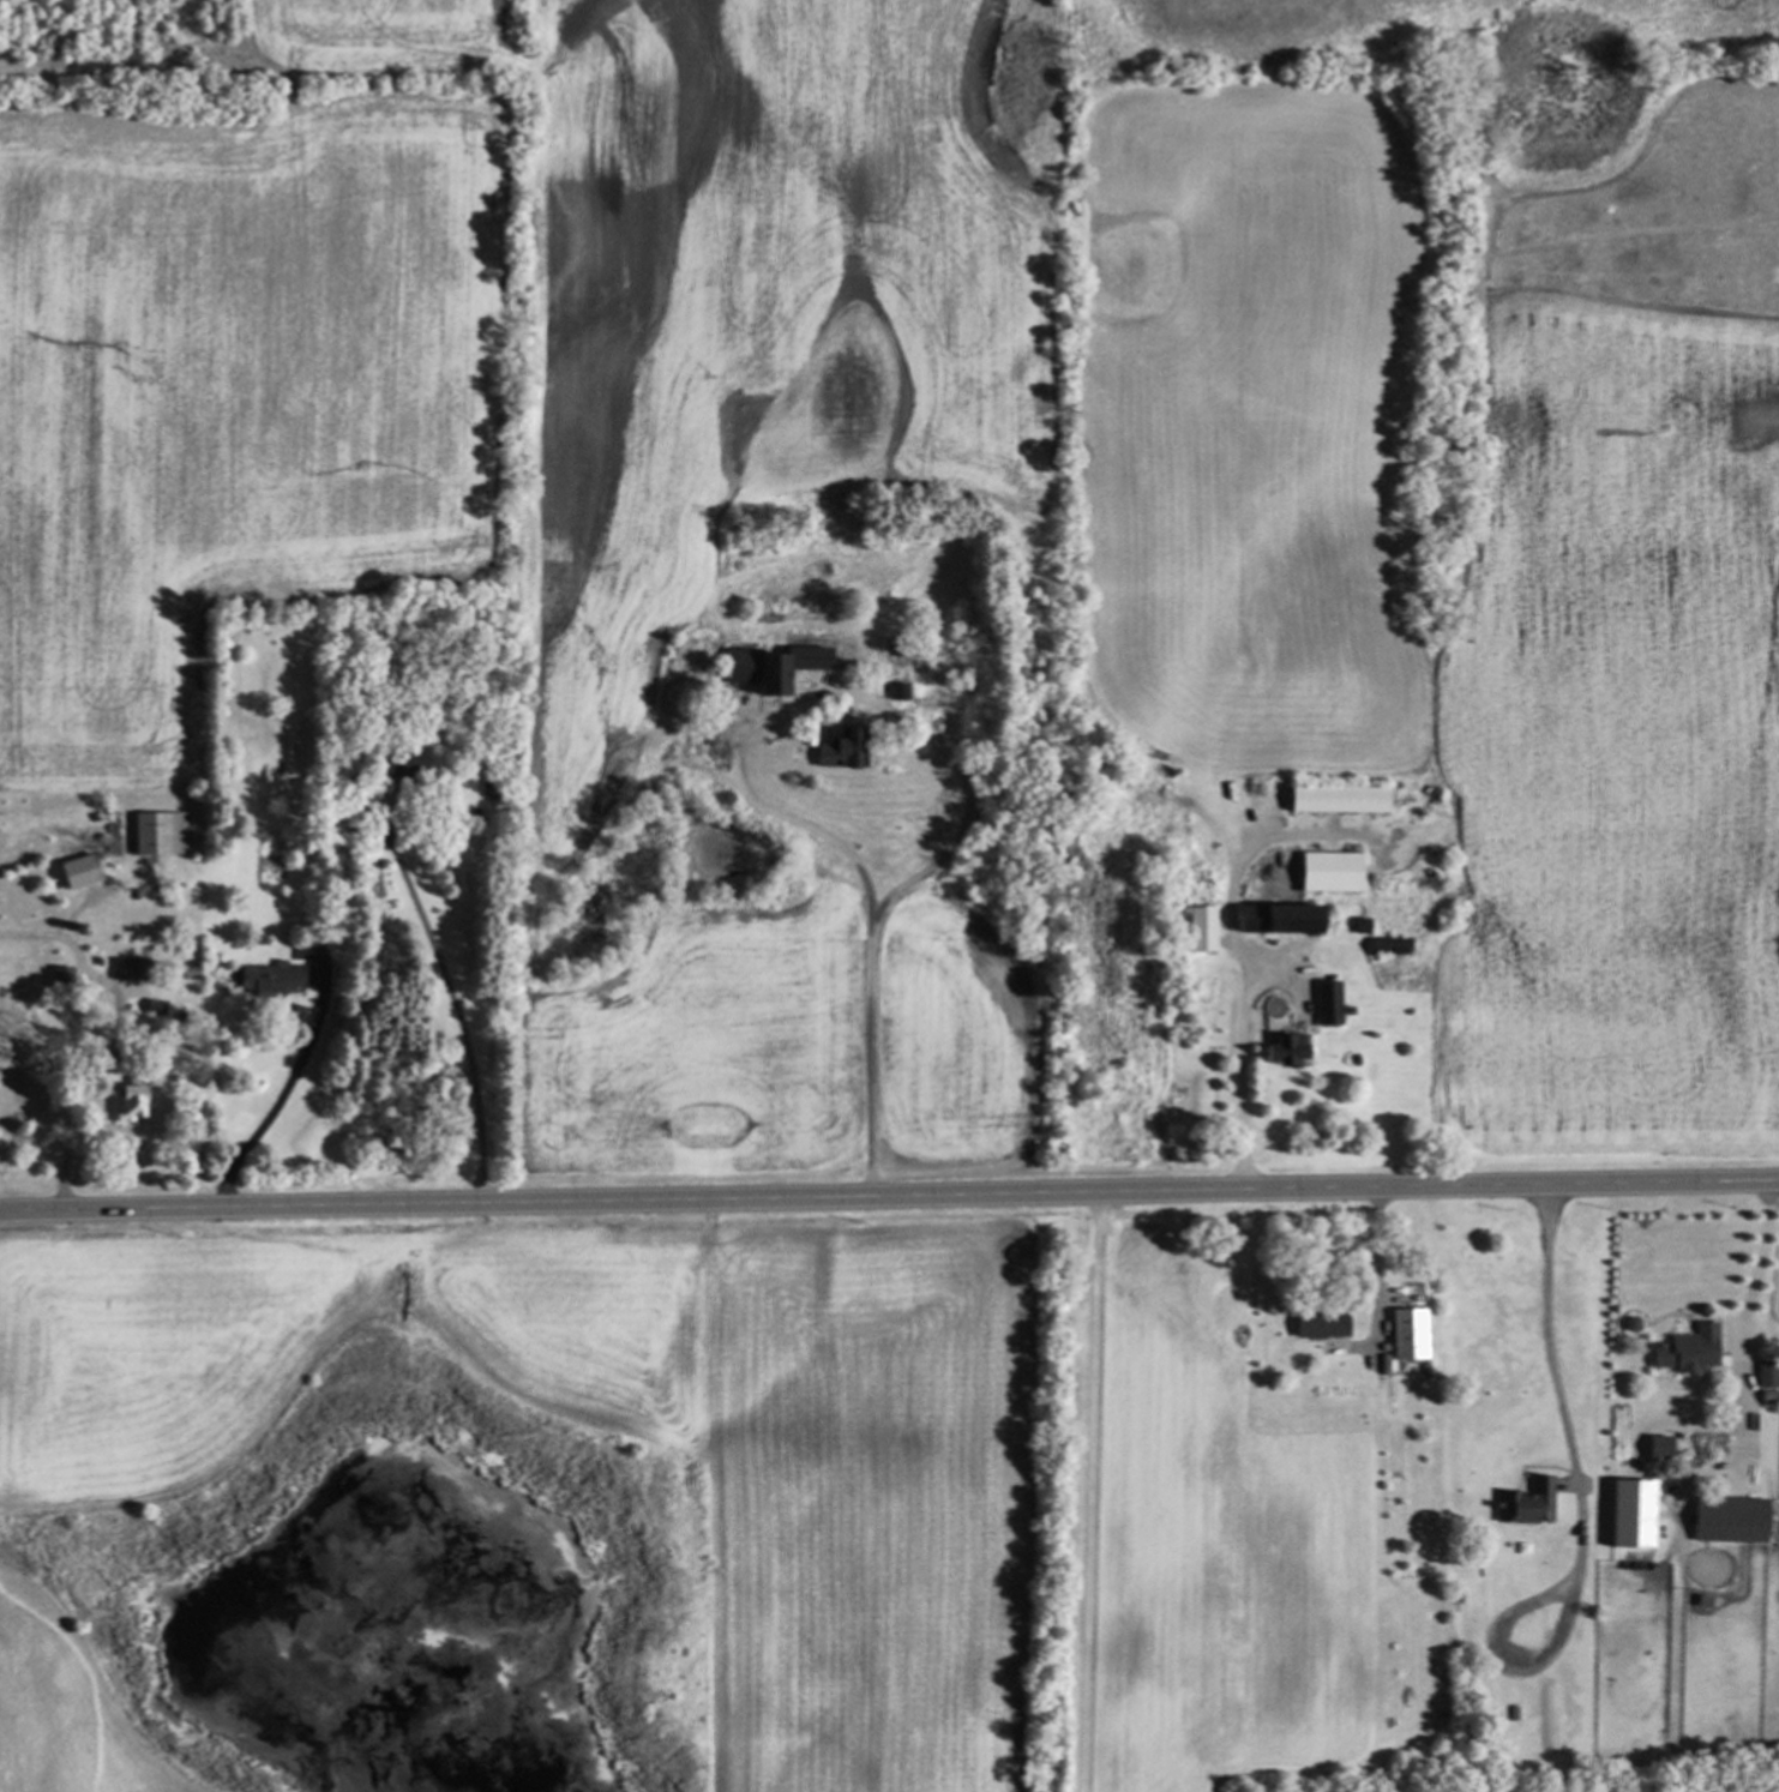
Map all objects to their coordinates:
crop: (919, 458)
building: (733, 663)
building: (788, 663)
building: (835, 747)
building: (403, 758)
building: (1335, 798)
building: (156, 832)
building: (74, 871)
building: (1327, 871)
road: (865, 879)
building: (1275, 918)
building: (1359, 925)
building: (1200, 927)
building: (1386, 945)
building: (266, 979)
building: (1326, 1002)
road: (462, 1015)
road: (78, 1042)
building: (1282, 1050)
road: (1239, 1081)
building: (127, 1101)
road: (265, 1116)
road: (889, 1197)
road: (1377, 1275)
building: (1317, 1323)
road: (1743, 1324)
building: (1407, 1333)
building: (1685, 1349)
building: (1766, 1373)
road: (1568, 1414)
building: (1655, 1448)
road: (1084, 1492)
building: (1528, 1504)
building: (1628, 1514)
building: (1726, 1519)

